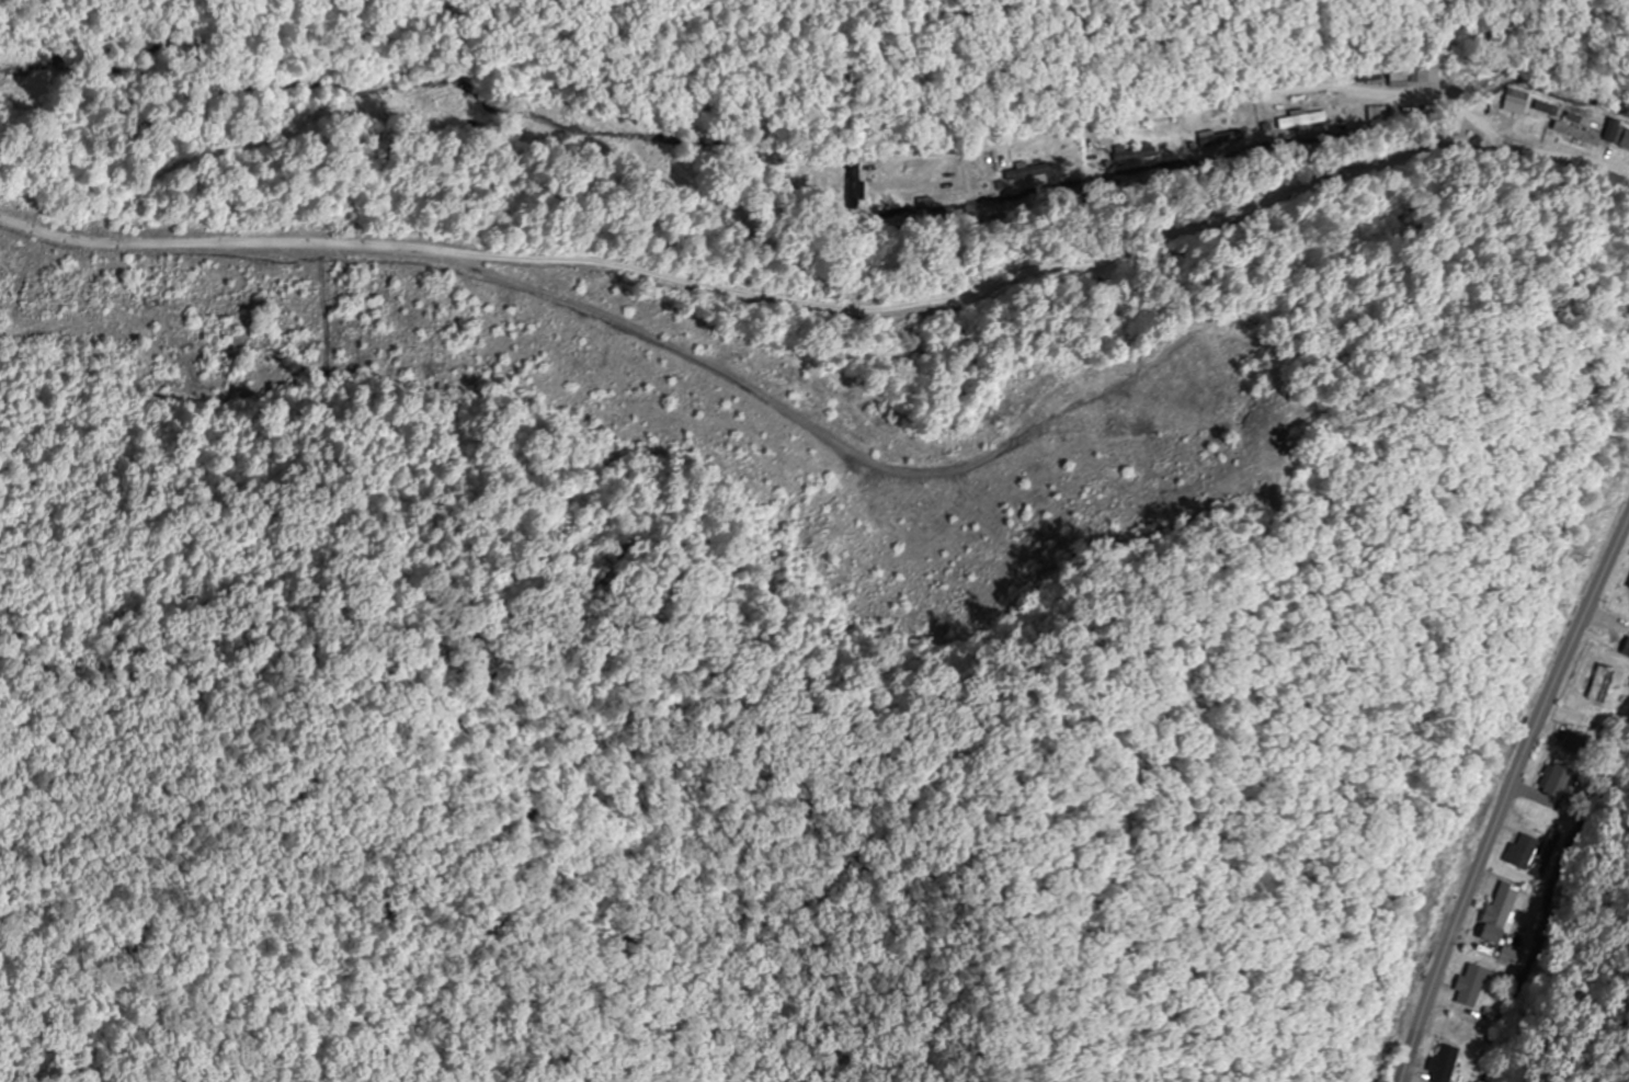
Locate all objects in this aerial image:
road: (814, 35)
building: (1416, 75)
building: (1518, 102)
building: (1303, 118)
building: (854, 176)
building: (1627, 652)
building: (1603, 684)
building: (1556, 779)
road: (1506, 797)
building: (1526, 850)
building: (1501, 911)
building: (1473, 983)
building: (1447, 1063)

